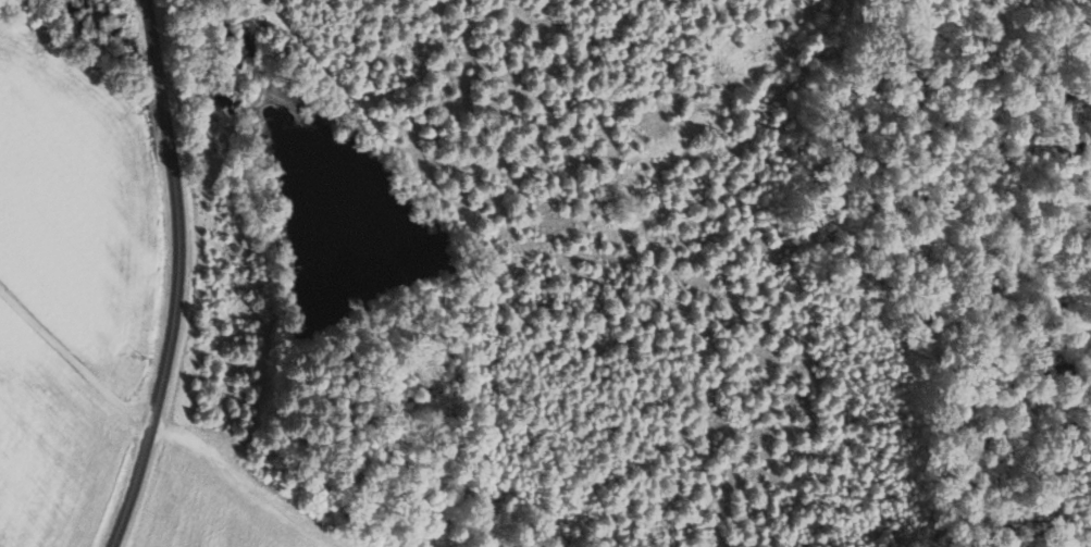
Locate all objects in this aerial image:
road: (174, 276)
road: (73, 360)

